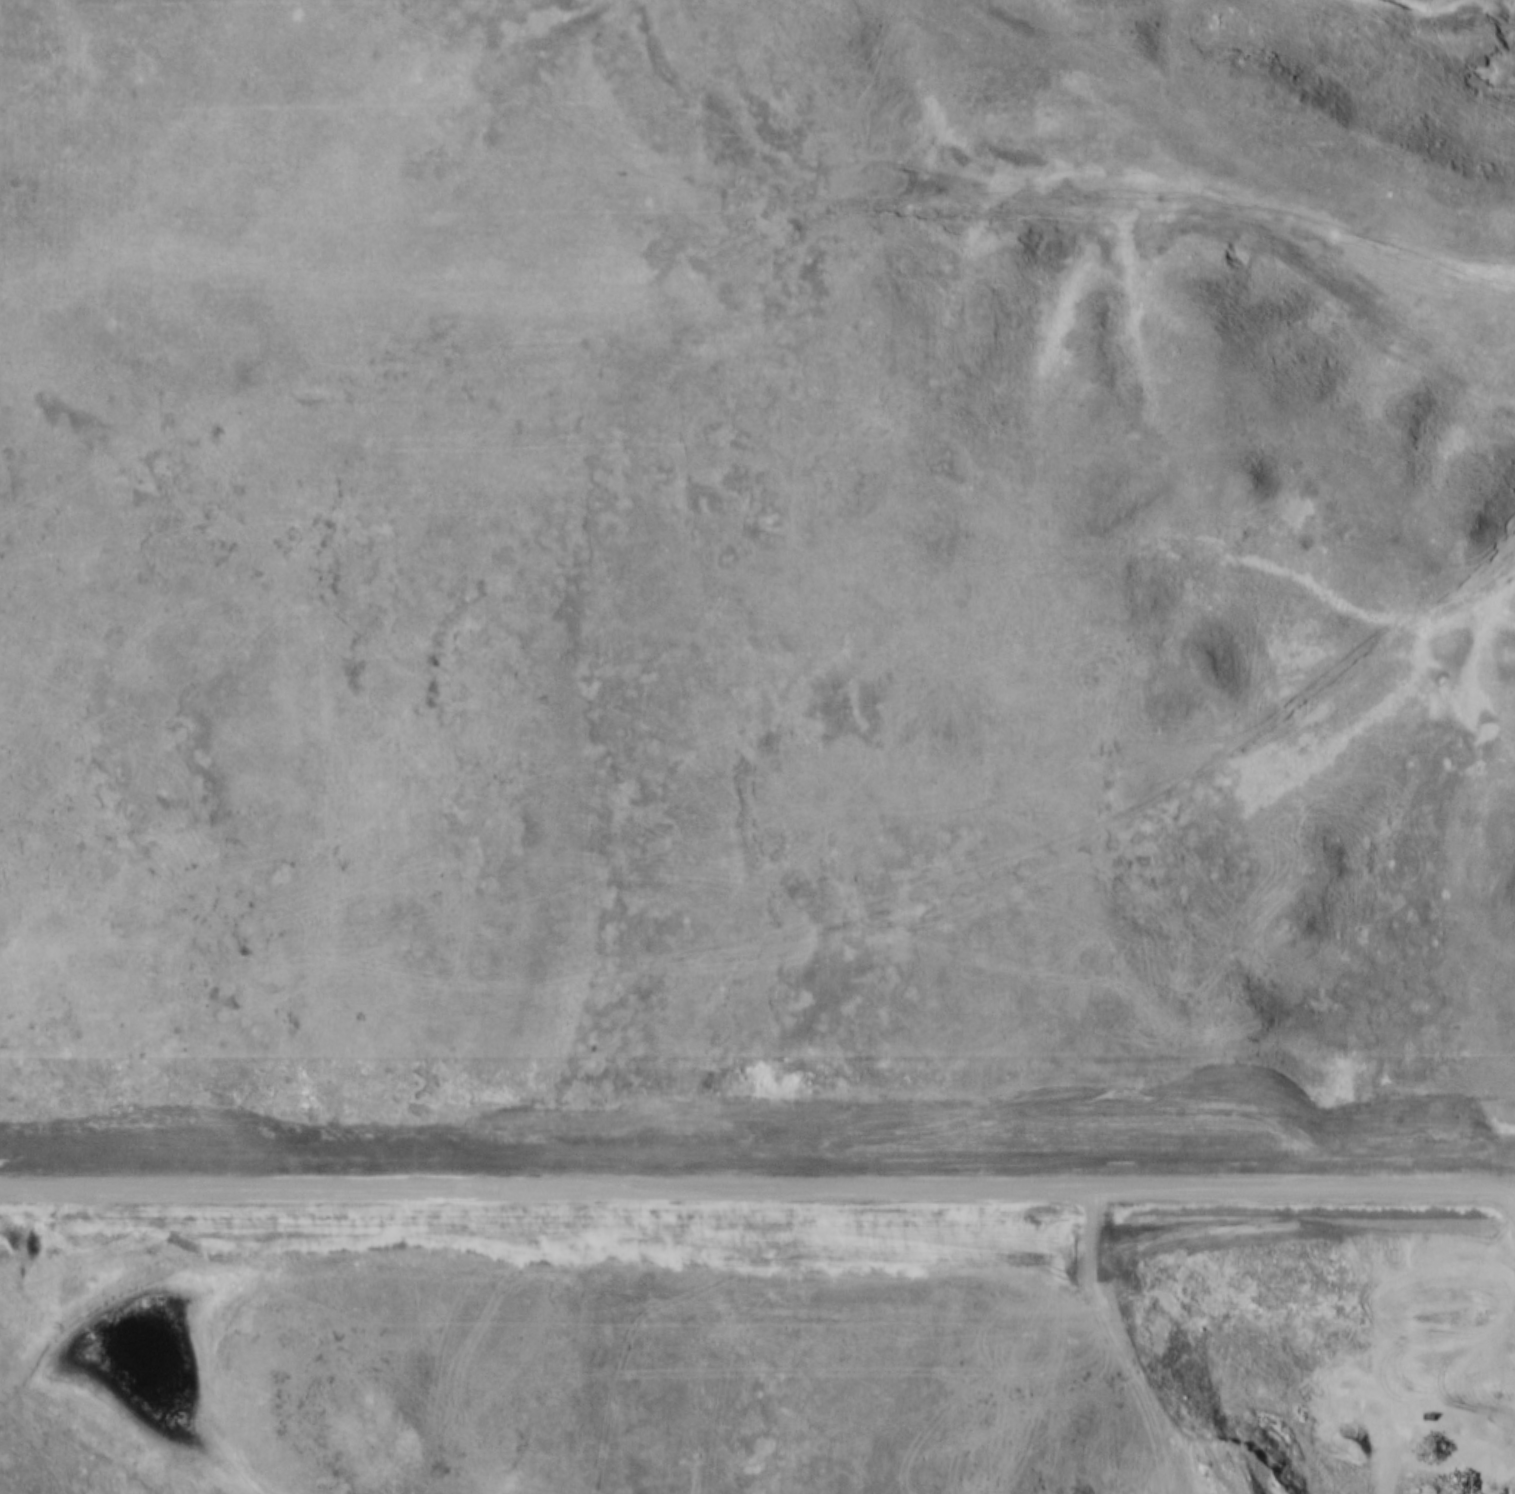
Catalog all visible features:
road: (757, 1183)
quarry: (1488, 1358)

